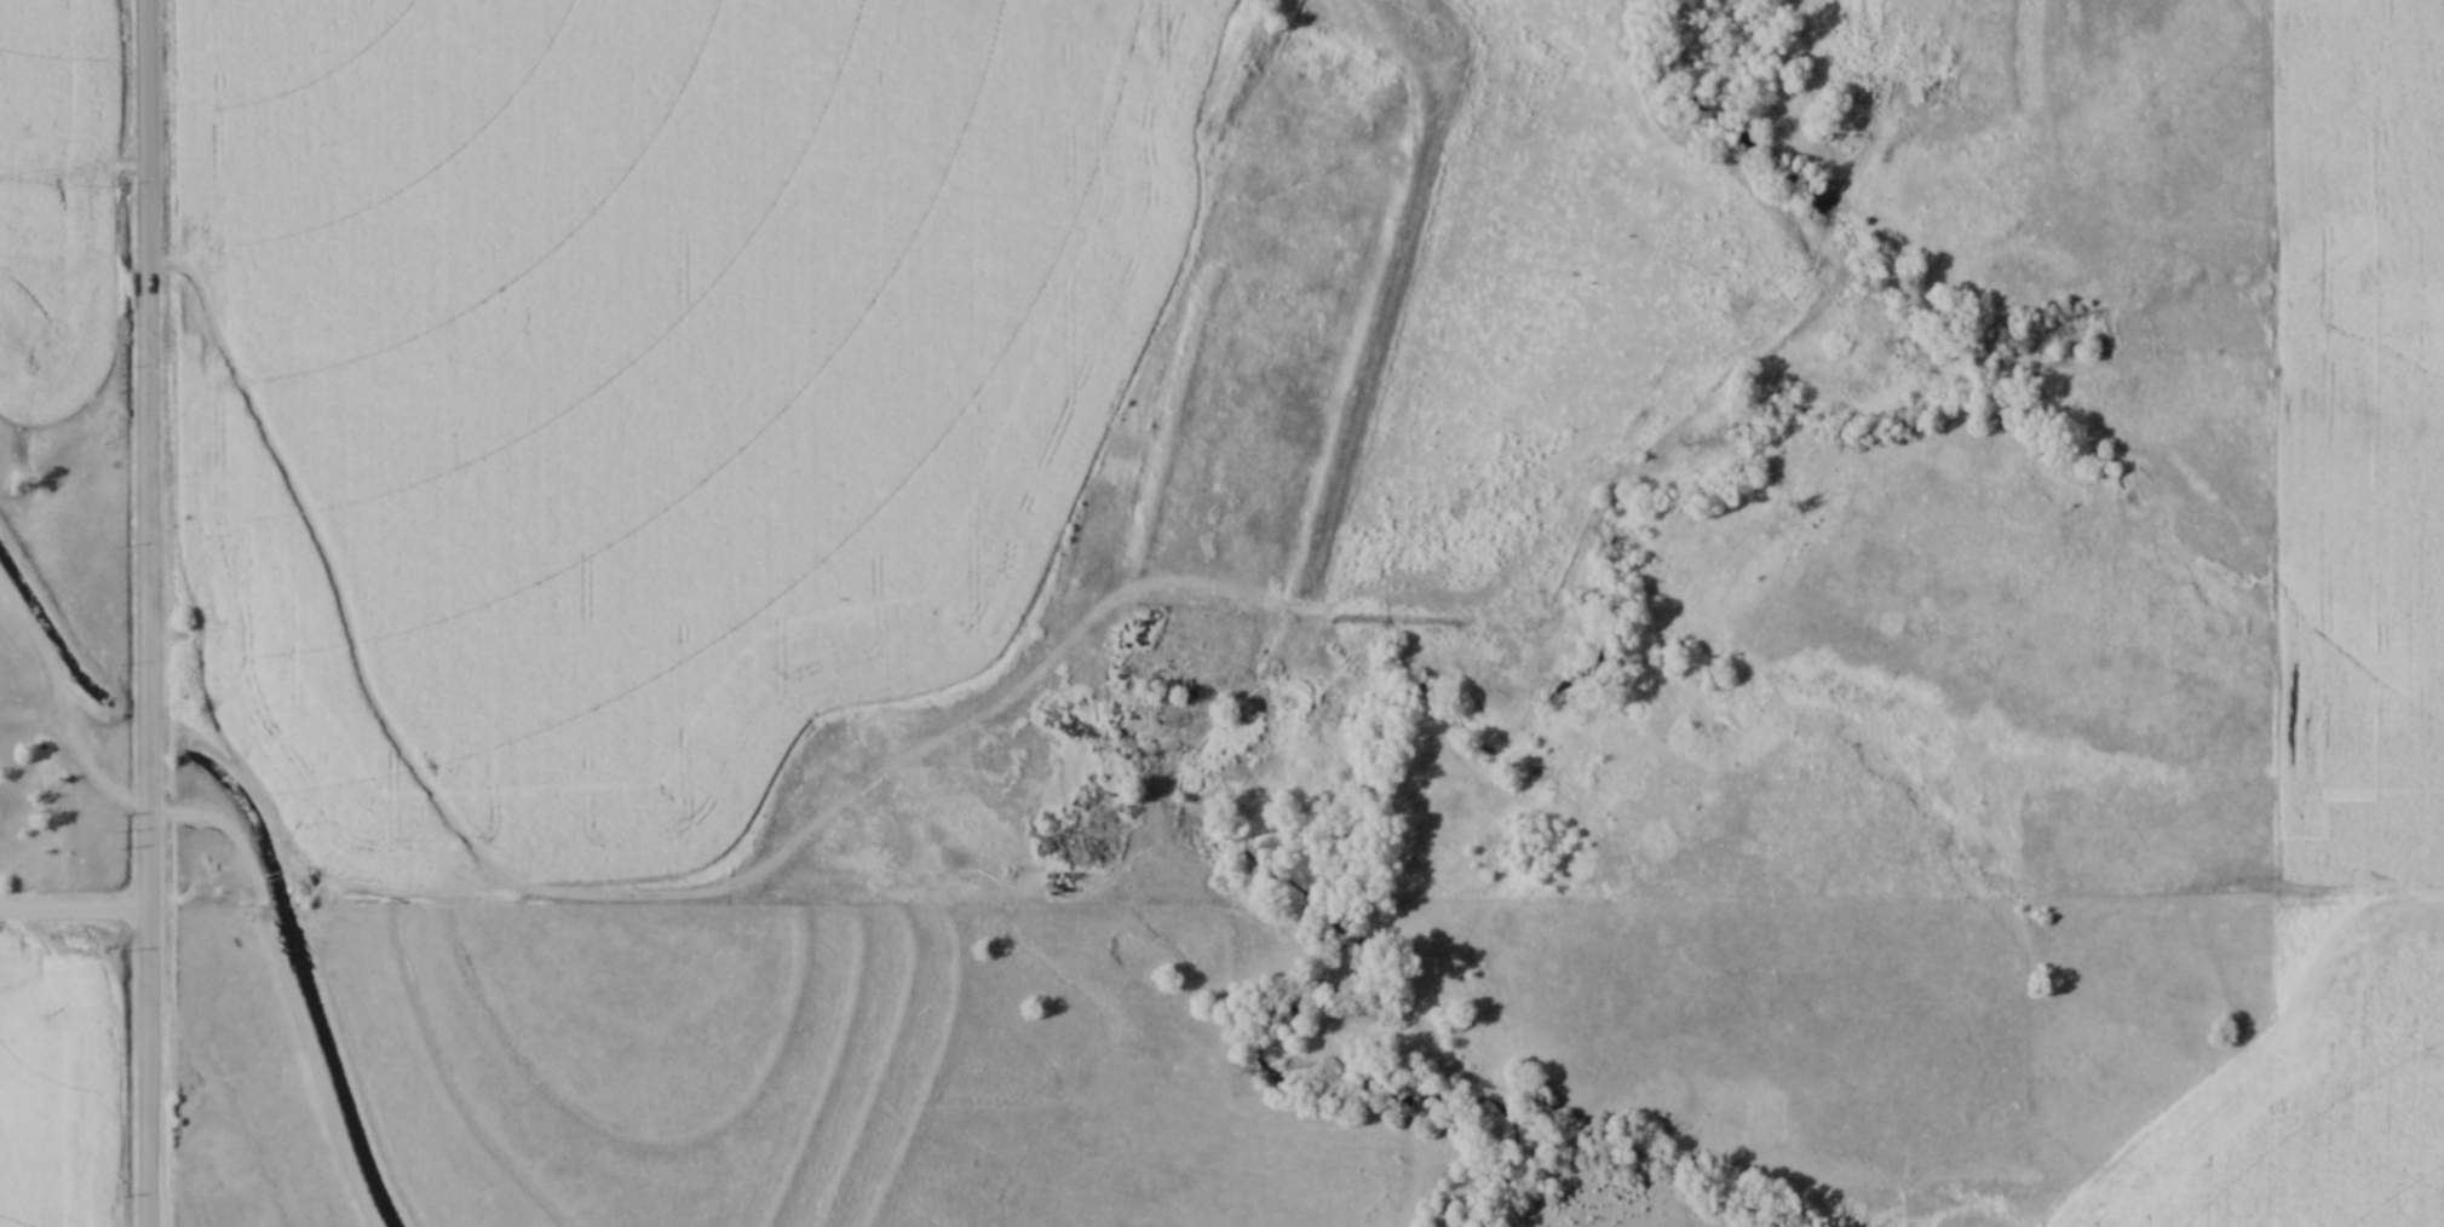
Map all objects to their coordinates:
road: (143, 612)
road: (73, 914)

